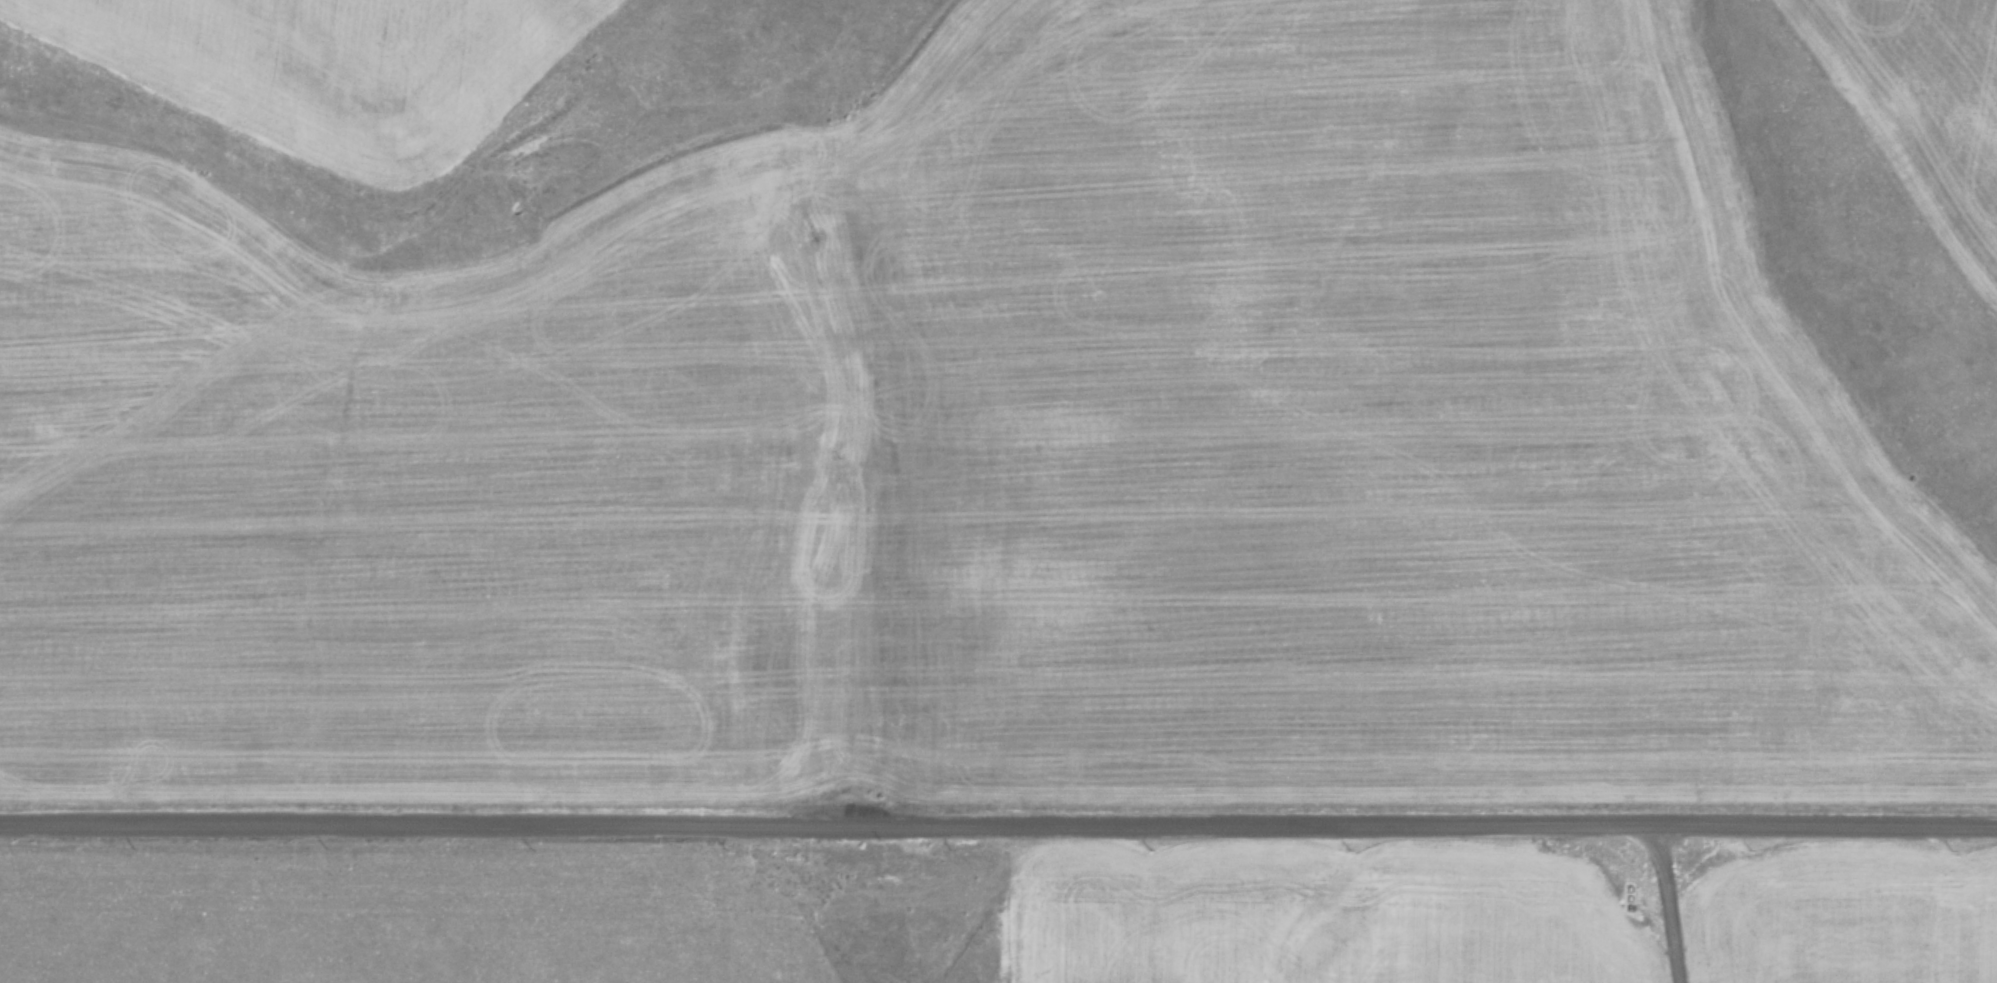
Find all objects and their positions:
road: (998, 820)
road: (1667, 898)

